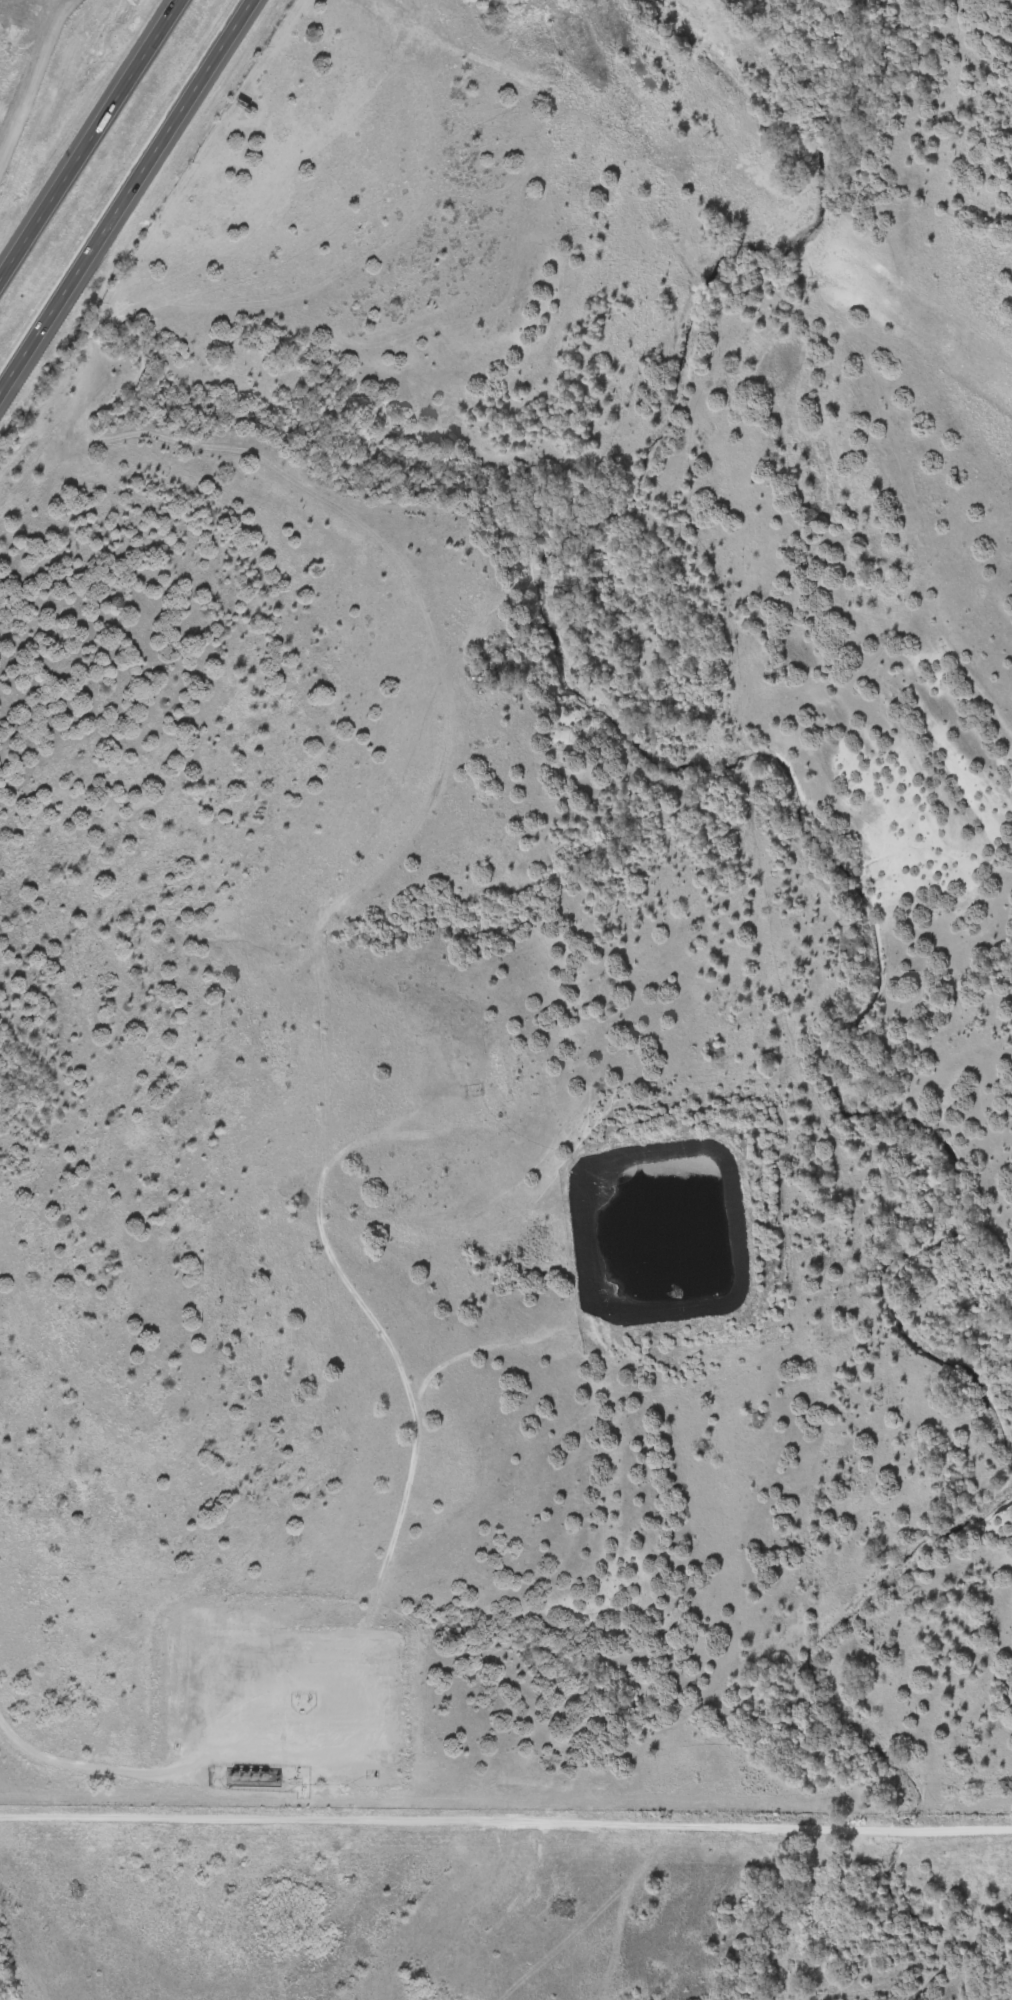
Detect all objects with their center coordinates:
road: (90, 139)
road: (125, 196)
road: (506, 1821)

